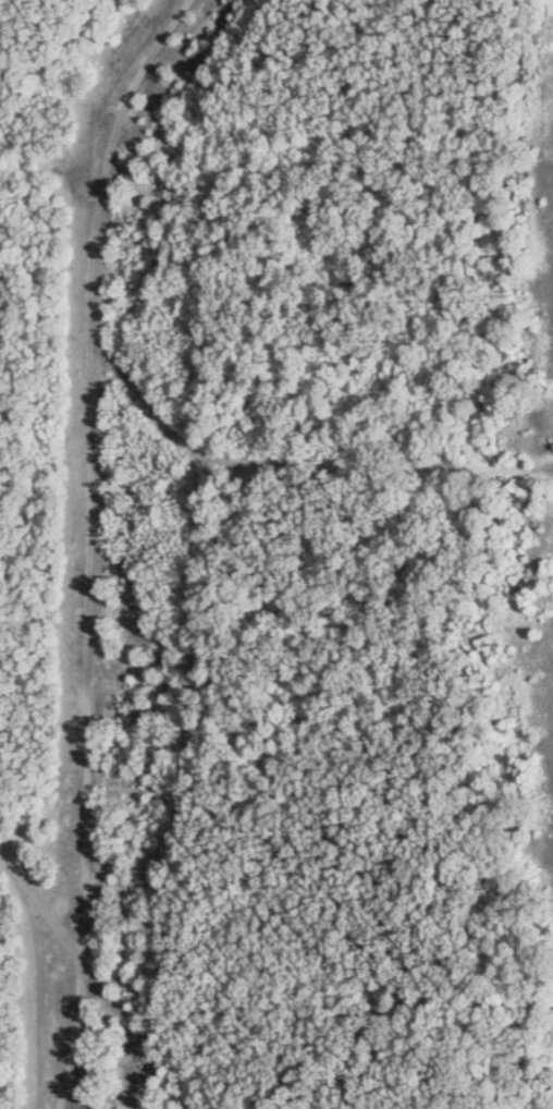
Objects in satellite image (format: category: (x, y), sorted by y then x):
wastewater plant: (536, 443)

